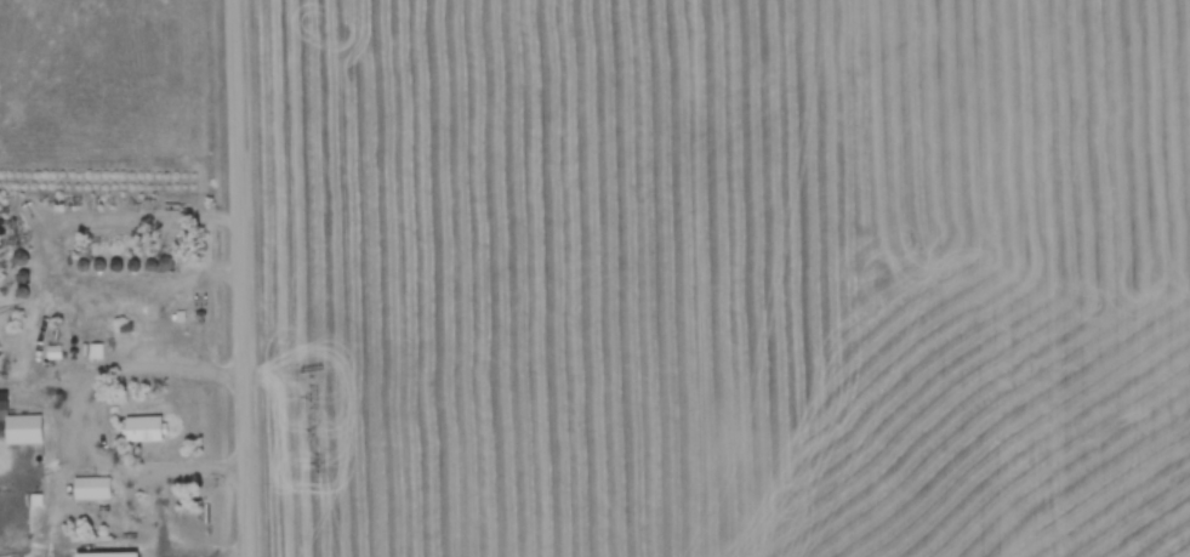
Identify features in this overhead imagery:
road: (241, 278)
building: (21, 425)
building: (149, 430)
building: (93, 489)

